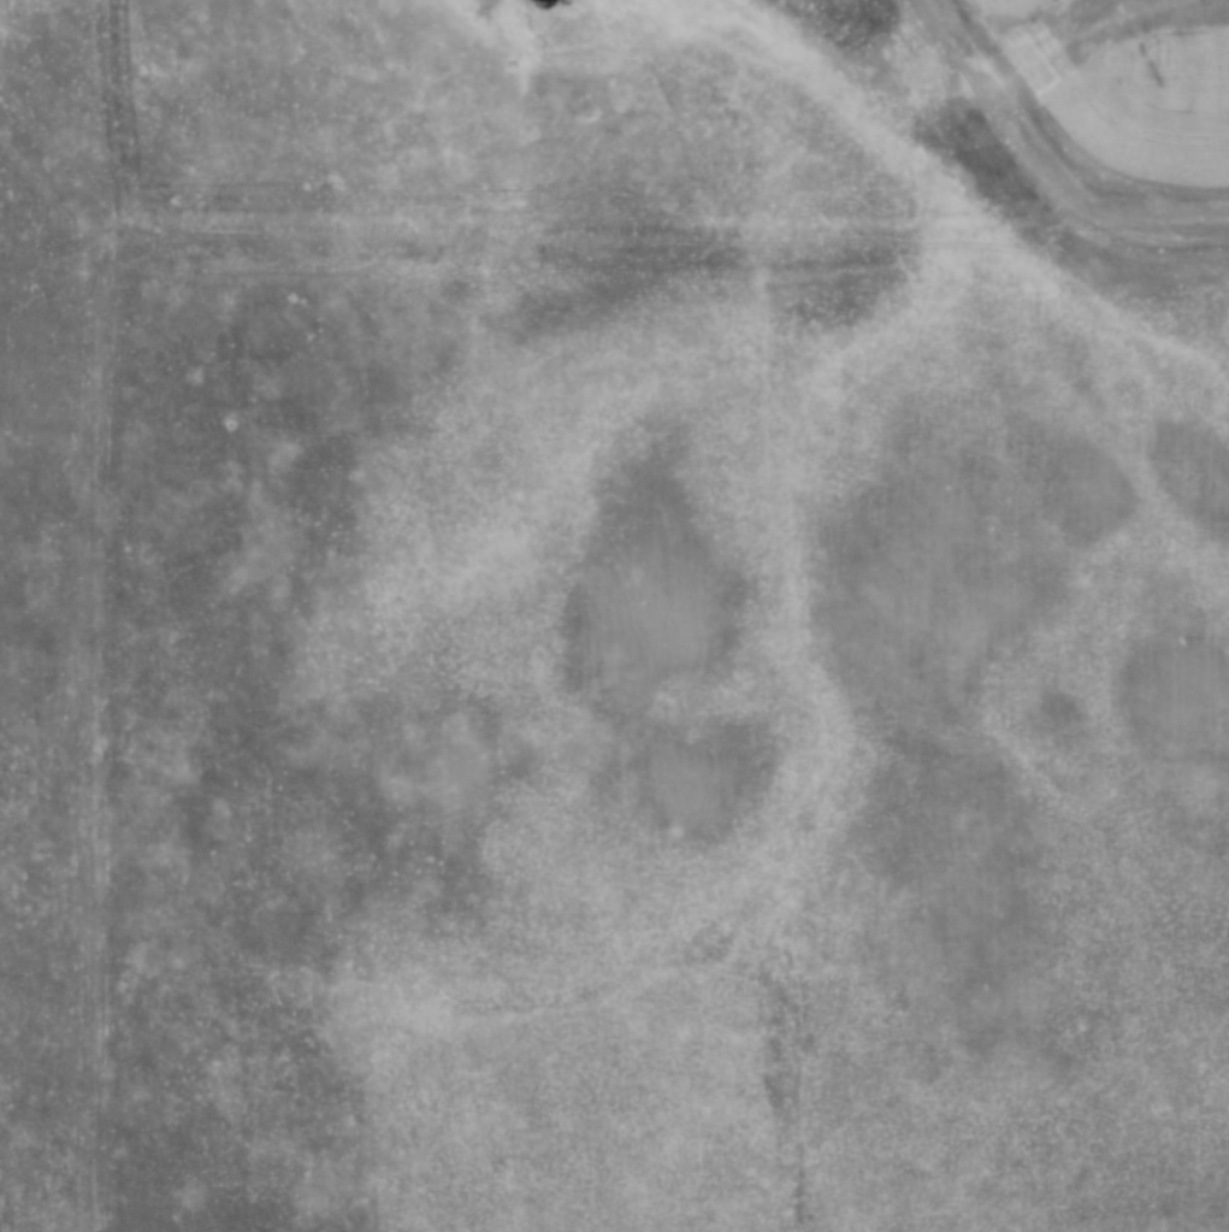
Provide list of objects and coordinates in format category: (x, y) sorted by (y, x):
road: (1039, 179)

